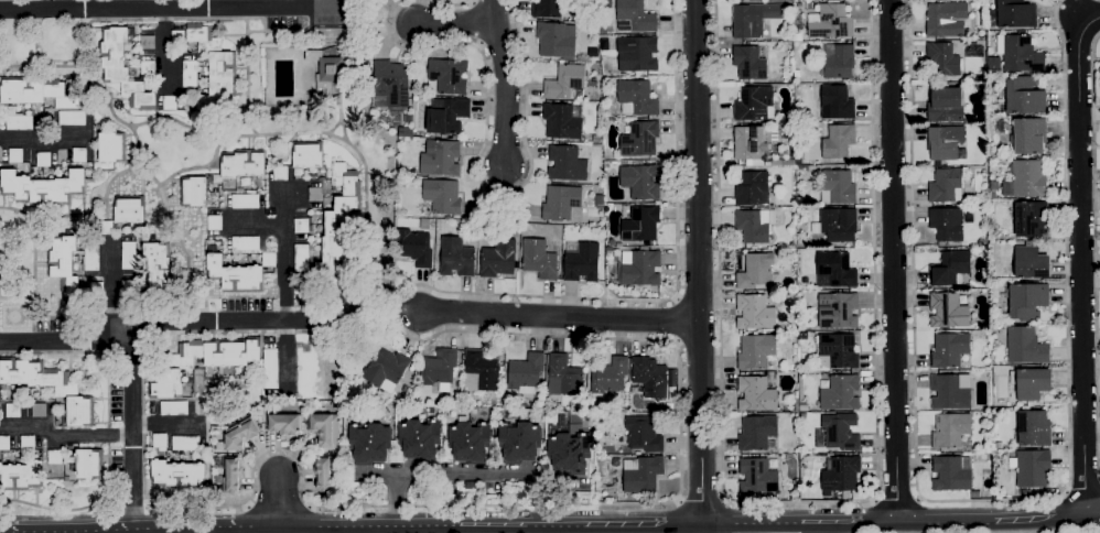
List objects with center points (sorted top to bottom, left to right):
building: (598, 1)
road: (240, 3)
road: (325, 3)
road: (89, 4)
road: (449, 4)
road: (162, 9)
building: (547, 9)
building: (1015, 14)
building: (634, 17)
building: (753, 20)
building: (946, 20)
building: (980, 20)
road: (454, 23)
building: (830, 23)
building: (980, 34)
building: (177, 37)
building: (797, 37)
building: (556, 40)
building: (145, 42)
road: (163, 50)
building: (1018, 53)
building: (637, 55)
building: (942, 59)
building: (748, 63)
building: (839, 63)
building: (213, 64)
building: (147, 68)
building: (121, 70)
building: (328, 70)
building: (1099, 72)
building: (188, 74)
building: (796, 75)
building: (447, 76)
road: (504, 81)
building: (563, 81)
building: (391, 83)
building: (34, 91)
building: (1024, 97)
building: (636, 99)
building: (169, 104)
building: (835, 104)
building: (754, 105)
building: (946, 105)
building: (446, 117)
building: (72, 118)
building: (788, 118)
building: (18, 122)
building: (561, 122)
building: (1001, 127)
building: (788, 128)
building: (1028, 135)
road: (39, 139)
building: (595, 139)
building: (639, 140)
building: (838, 141)
building: (943, 142)
building: (752, 144)
building: (110, 150)
building: (14, 155)
building: (78, 155)
building: (306, 156)
building: (440, 159)
building: (43, 160)
road: (476, 161)
building: (798, 162)
building: (787, 163)
building: (565, 164)
building: (242, 165)
building: (810, 170)
building: (280, 173)
building: (1025, 180)
building: (640, 182)
building: (945, 186)
building: (994, 186)
building: (43, 187)
building: (837, 187)
building: (752, 189)
building: (194, 192)
building: (314, 195)
building: (992, 195)
building: (442, 197)
building: (245, 202)
building: (560, 203)
building: (598, 203)
building: (128, 209)
building: (425, 213)
building: (1028, 219)
building: (337, 221)
building: (214, 222)
building: (424, 224)
road: (258, 225)
building: (640, 225)
building: (754, 225)
building: (947, 225)
building: (302, 226)
building: (837, 226)
building: (105, 228)
building: (1027, 242)
building: (245, 243)
building: (982, 243)
building: (618, 244)
building: (413, 248)
road: (1080, 252)
road: (1094, 254)
building: (128, 255)
building: (89, 258)
building: (301, 258)
building: (456, 258)
building: (497, 259)
building: (269, 260)
building: (538, 260)
road: (894, 260)
building: (581, 262)
building: (1031, 263)
road: (698, 266)
building: (158, 268)
building: (639, 269)
building: (950, 269)
building: (834, 270)
building: (69, 272)
building: (754, 272)
building: (234, 273)
building: (128, 287)
road: (283, 290)
road: (522, 296)
road: (111, 298)
building: (1025, 301)
building: (837, 311)
building: (948, 312)
building: (754, 314)
road: (559, 316)
road: (157, 320)
building: (802, 336)
building: (1025, 346)
building: (949, 350)
building: (755, 351)
building: (795, 351)
building: (837, 351)
building: (204, 362)
building: (412, 367)
building: (438, 368)
building: (270, 369)
building: (386, 370)
building: (481, 372)
building: (526, 373)
building: (985, 376)
building: (563, 377)
building: (608, 377)
building: (649, 377)
building: (1031, 383)
building: (65, 392)
building: (948, 392)
building: (840, 393)
building: (755, 394)
building: (796, 394)
building: (276, 407)
building: (804, 407)
building: (173, 409)
building: (12, 411)
building: (37, 411)
building: (802, 416)
building: (561, 422)
road: (165, 425)
building: (284, 425)
building: (1033, 428)
building: (325, 429)
building: (949, 431)
building: (756, 433)
building: (240, 434)
building: (837, 434)
road: (64, 435)
building: (643, 435)
road: (132, 436)
building: (419, 439)
building: (159, 440)
building: (468, 440)
building: (519, 442)
building: (26, 443)
building: (184, 443)
building: (368, 443)
building: (4, 444)
building: (997, 446)
building: (866, 449)
building: (569, 453)
building: (54, 457)
building: (982, 457)
building: (88, 464)
building: (773, 466)
building: (1031, 468)
building: (228, 472)
building: (177, 474)
building: (324, 474)
road: (466, 474)
building: (640, 474)
building: (951, 474)
building: (21, 475)
road: (375, 475)
building: (841, 476)
building: (756, 477)
building: (598, 483)
building: (611, 485)
building: (471, 486)
road: (1083, 487)
building: (1023, 493)
building: (974, 494)
road: (895, 498)
road: (131, 499)
road: (991, 500)
road: (277, 501)
road: (701, 501)
road: (798, 503)
road: (450, 508)
road: (60, 510)
road: (1091, 512)
road: (941, 521)
road: (751, 523)
road: (580, 524)
road: (367, 526)
road: (139, 529)
road: (212, 530)
road: (338, 530)

